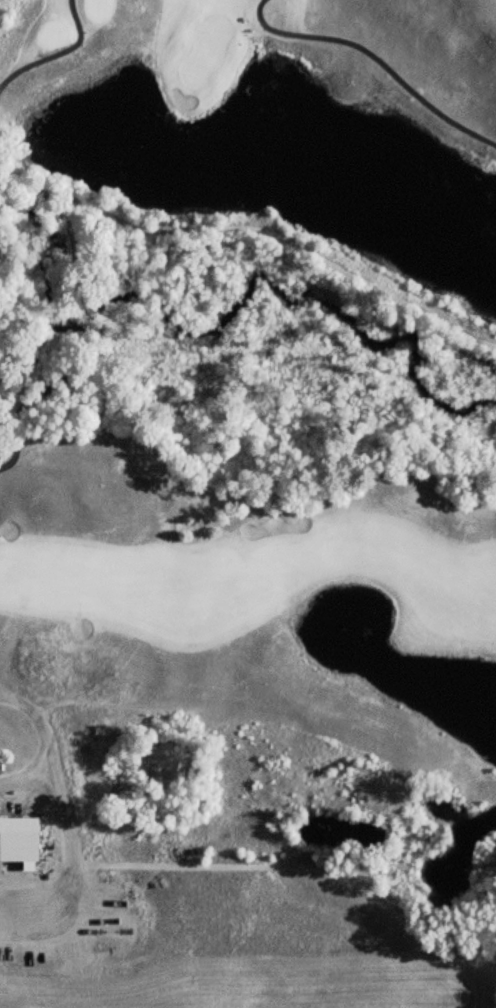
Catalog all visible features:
road: (67, 805)
building: (20, 847)
road: (239, 865)

